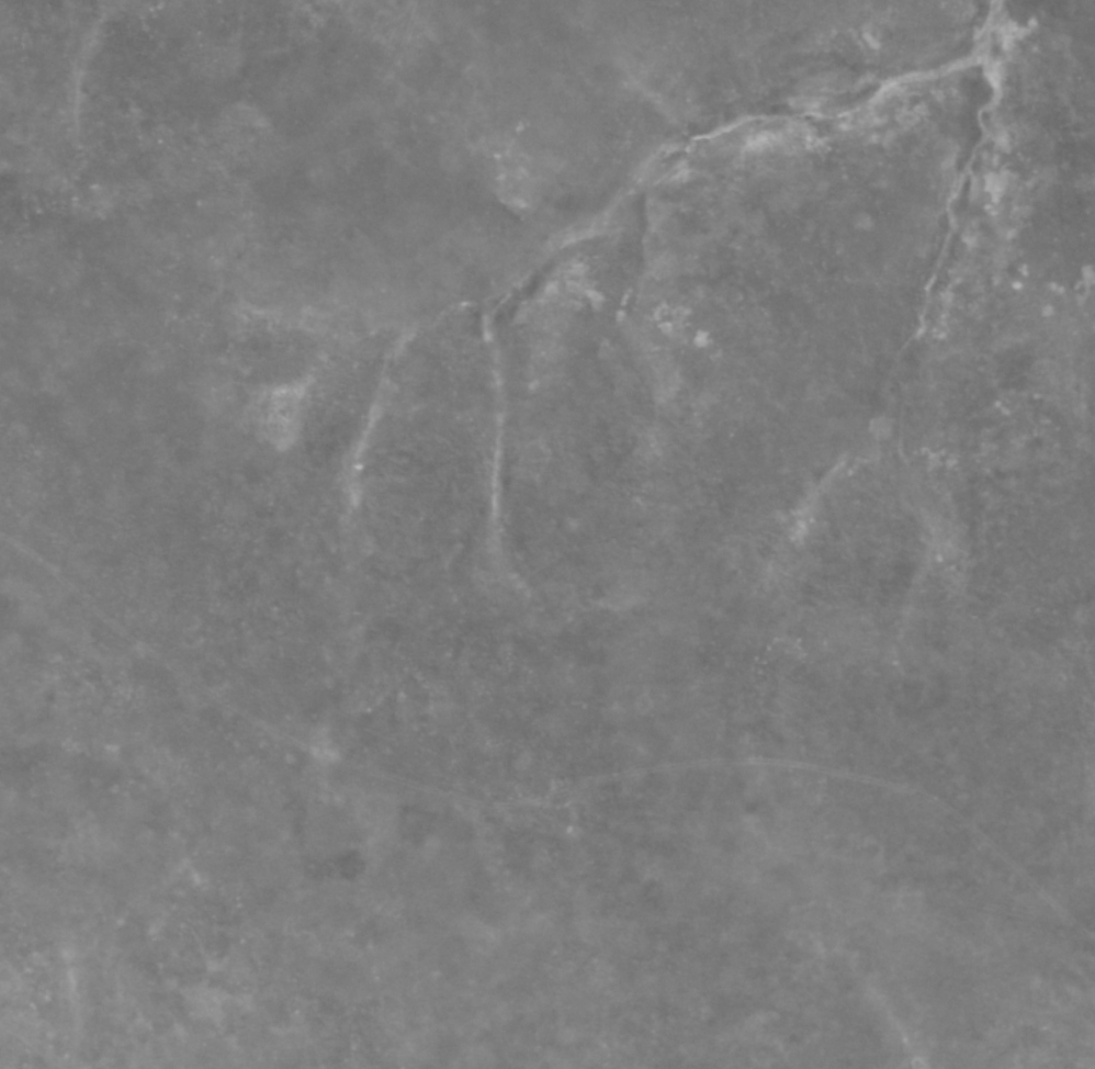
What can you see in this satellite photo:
road: (562, 780)

